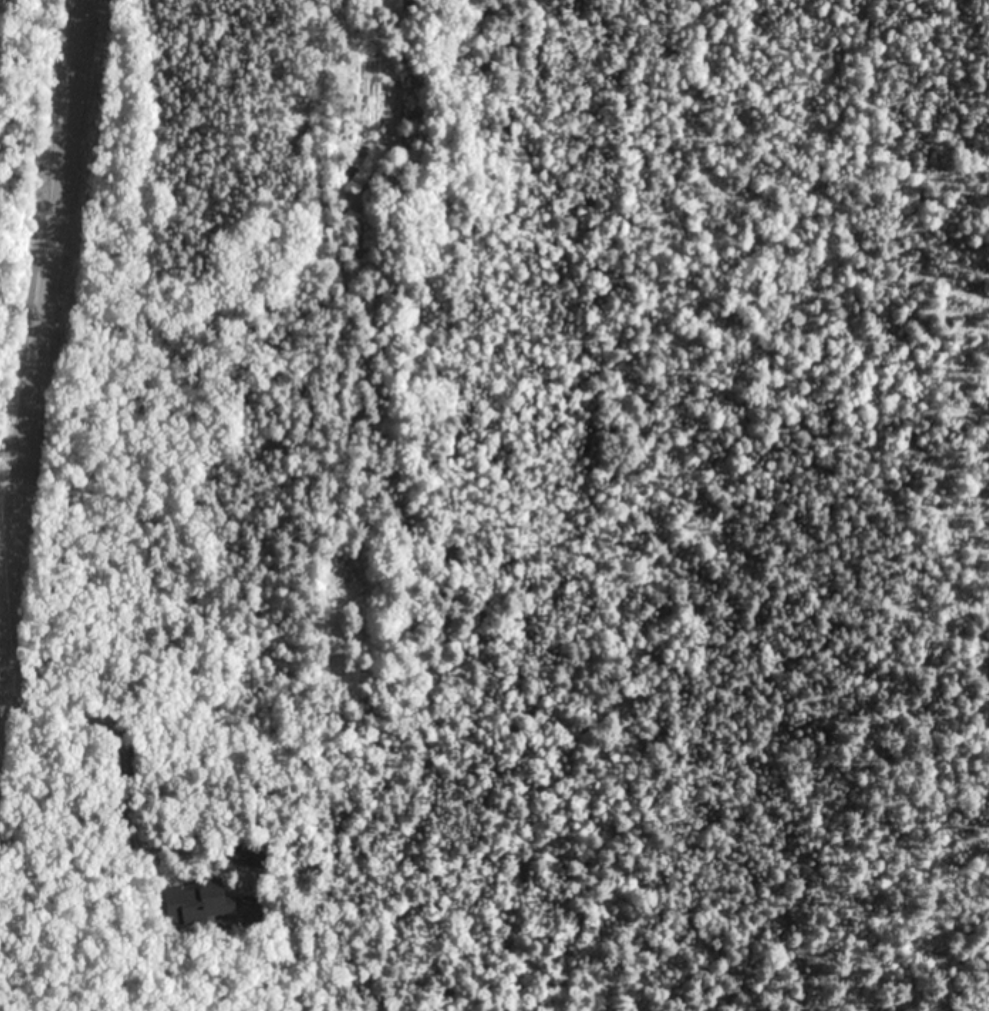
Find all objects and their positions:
road: (43, 326)

